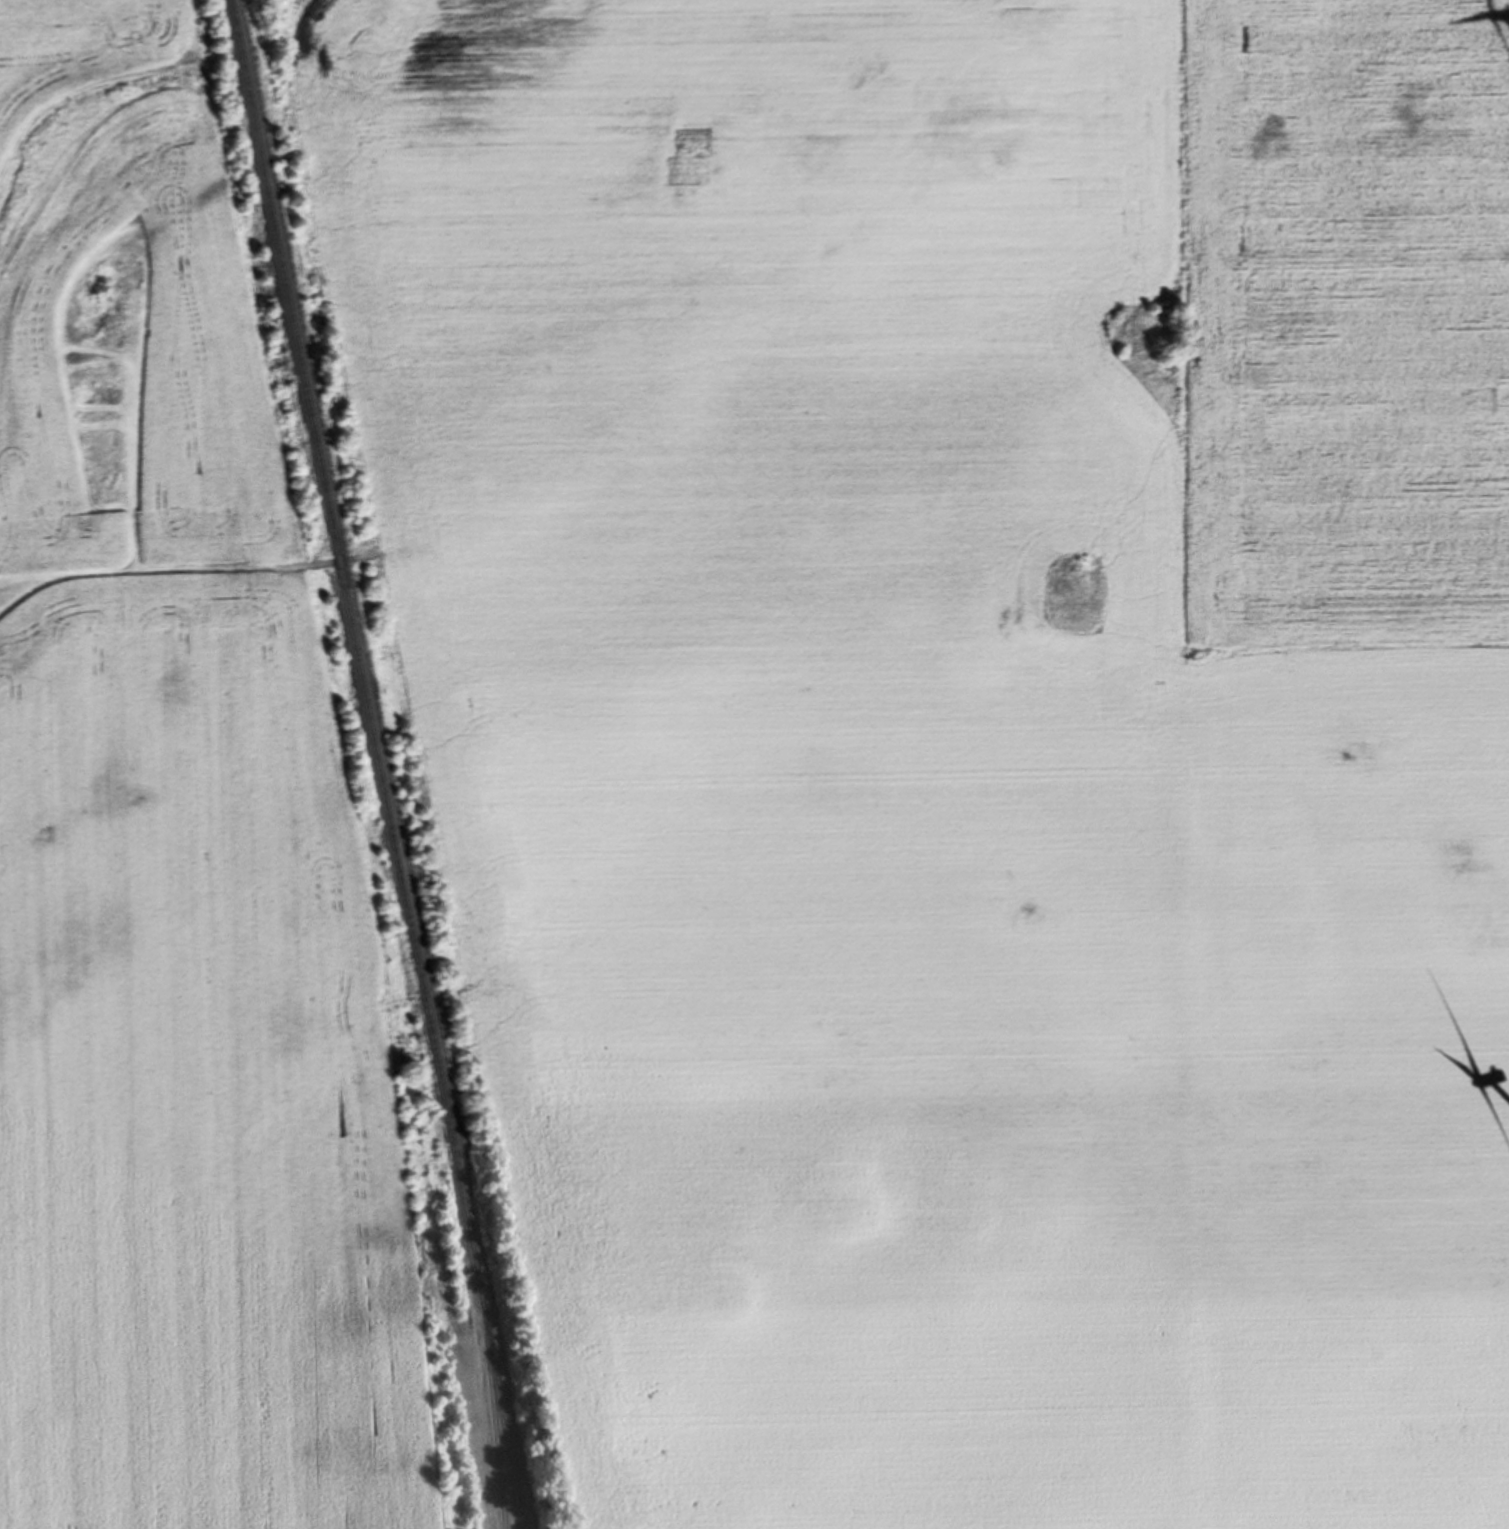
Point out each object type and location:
road: (190, 575)
railway: (373, 764)
railway: (491, 1412)

